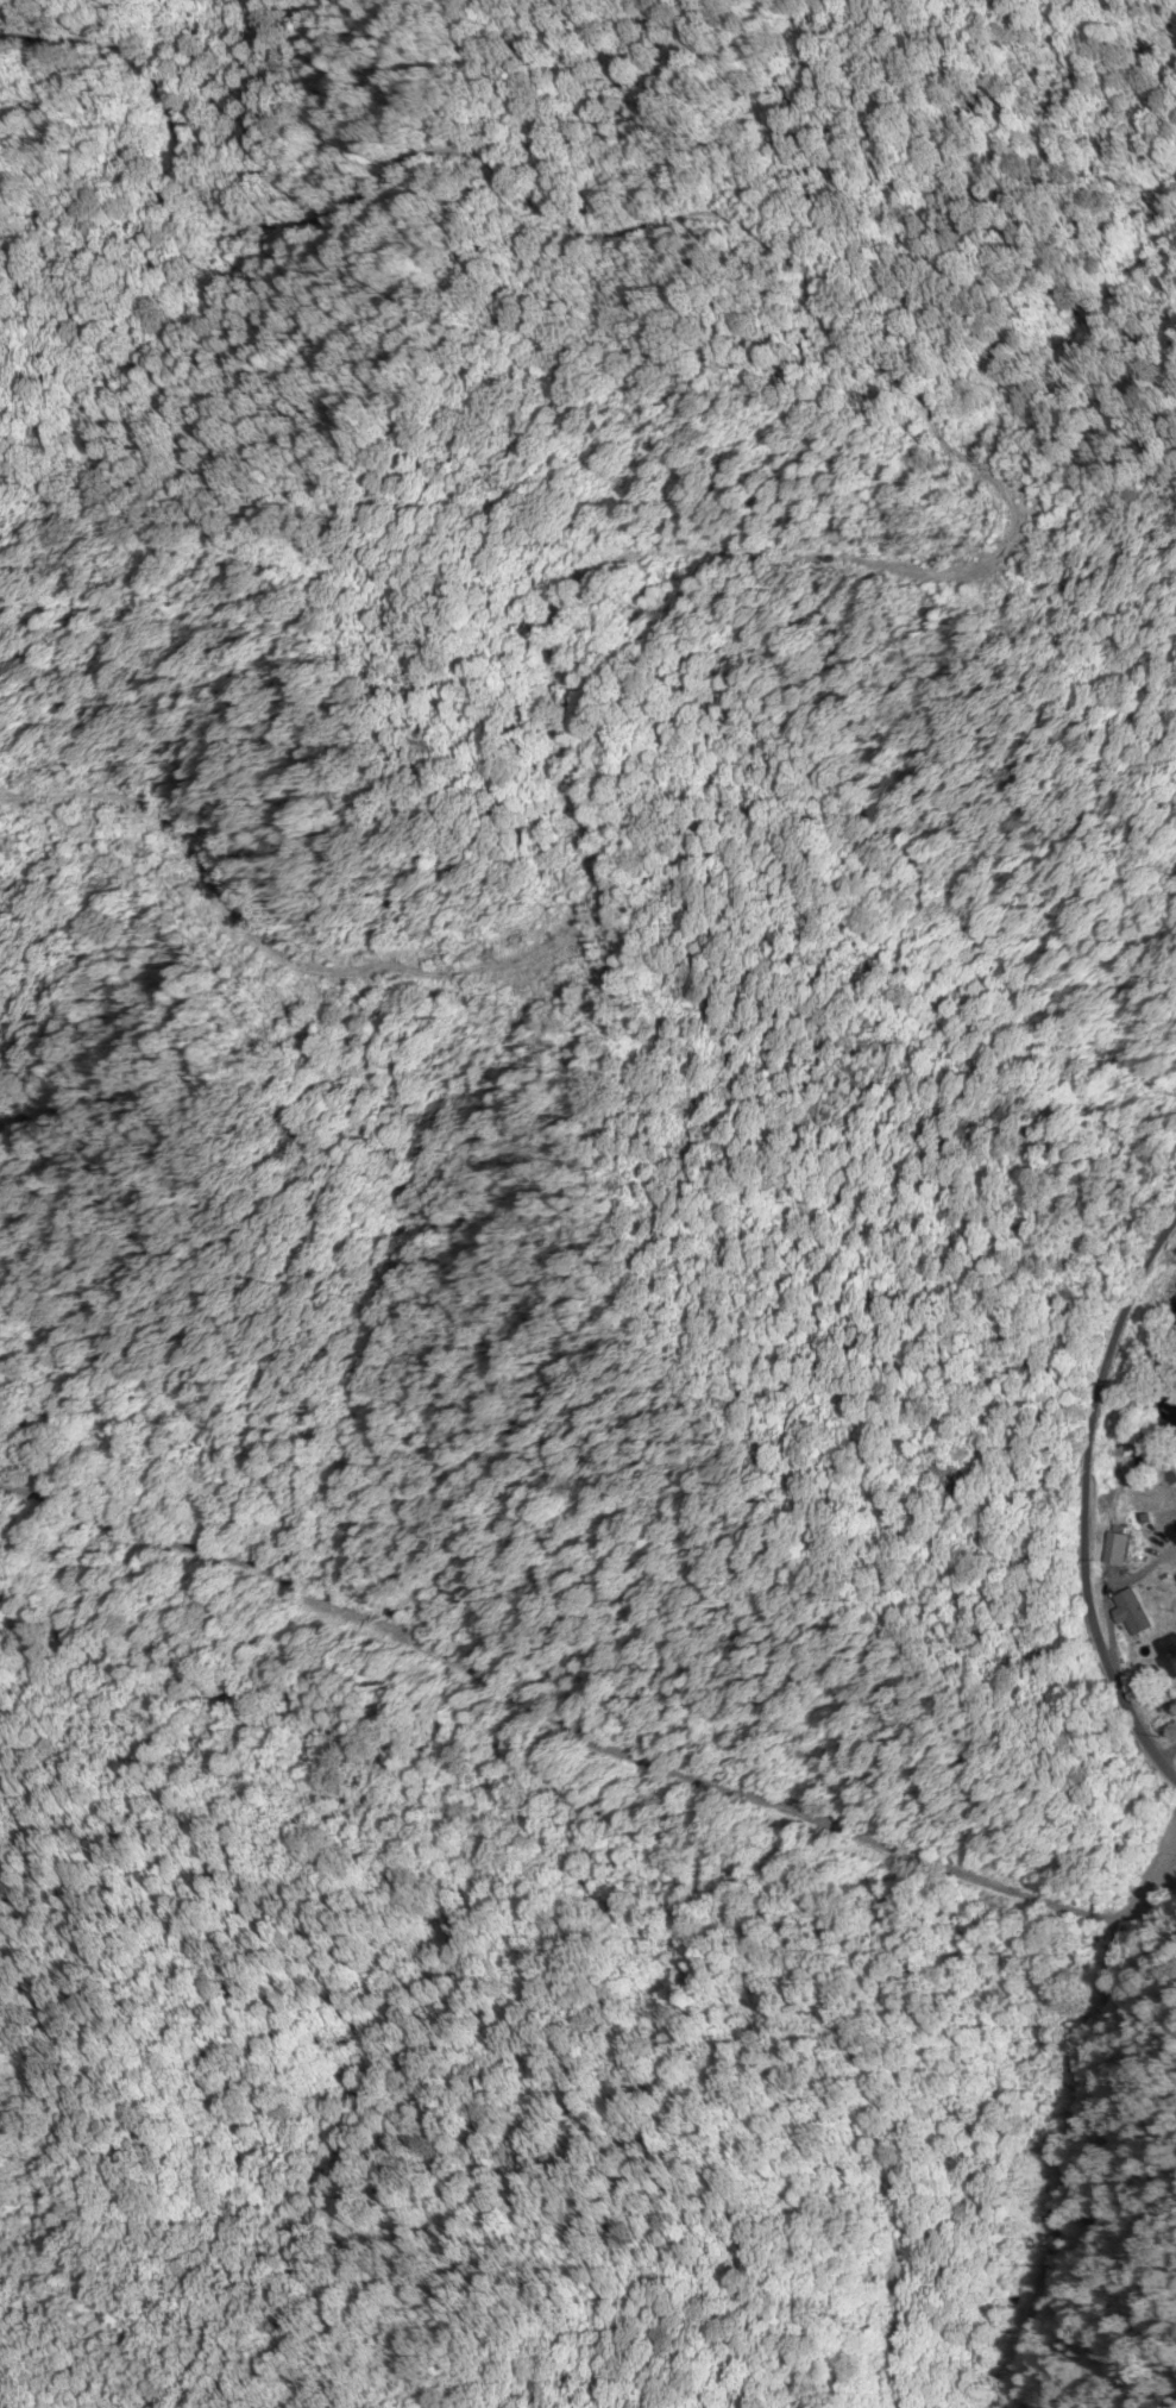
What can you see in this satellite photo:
road: (1081, 1505)
building: (1114, 1536)
building: (1134, 1612)
building: (1169, 1655)

